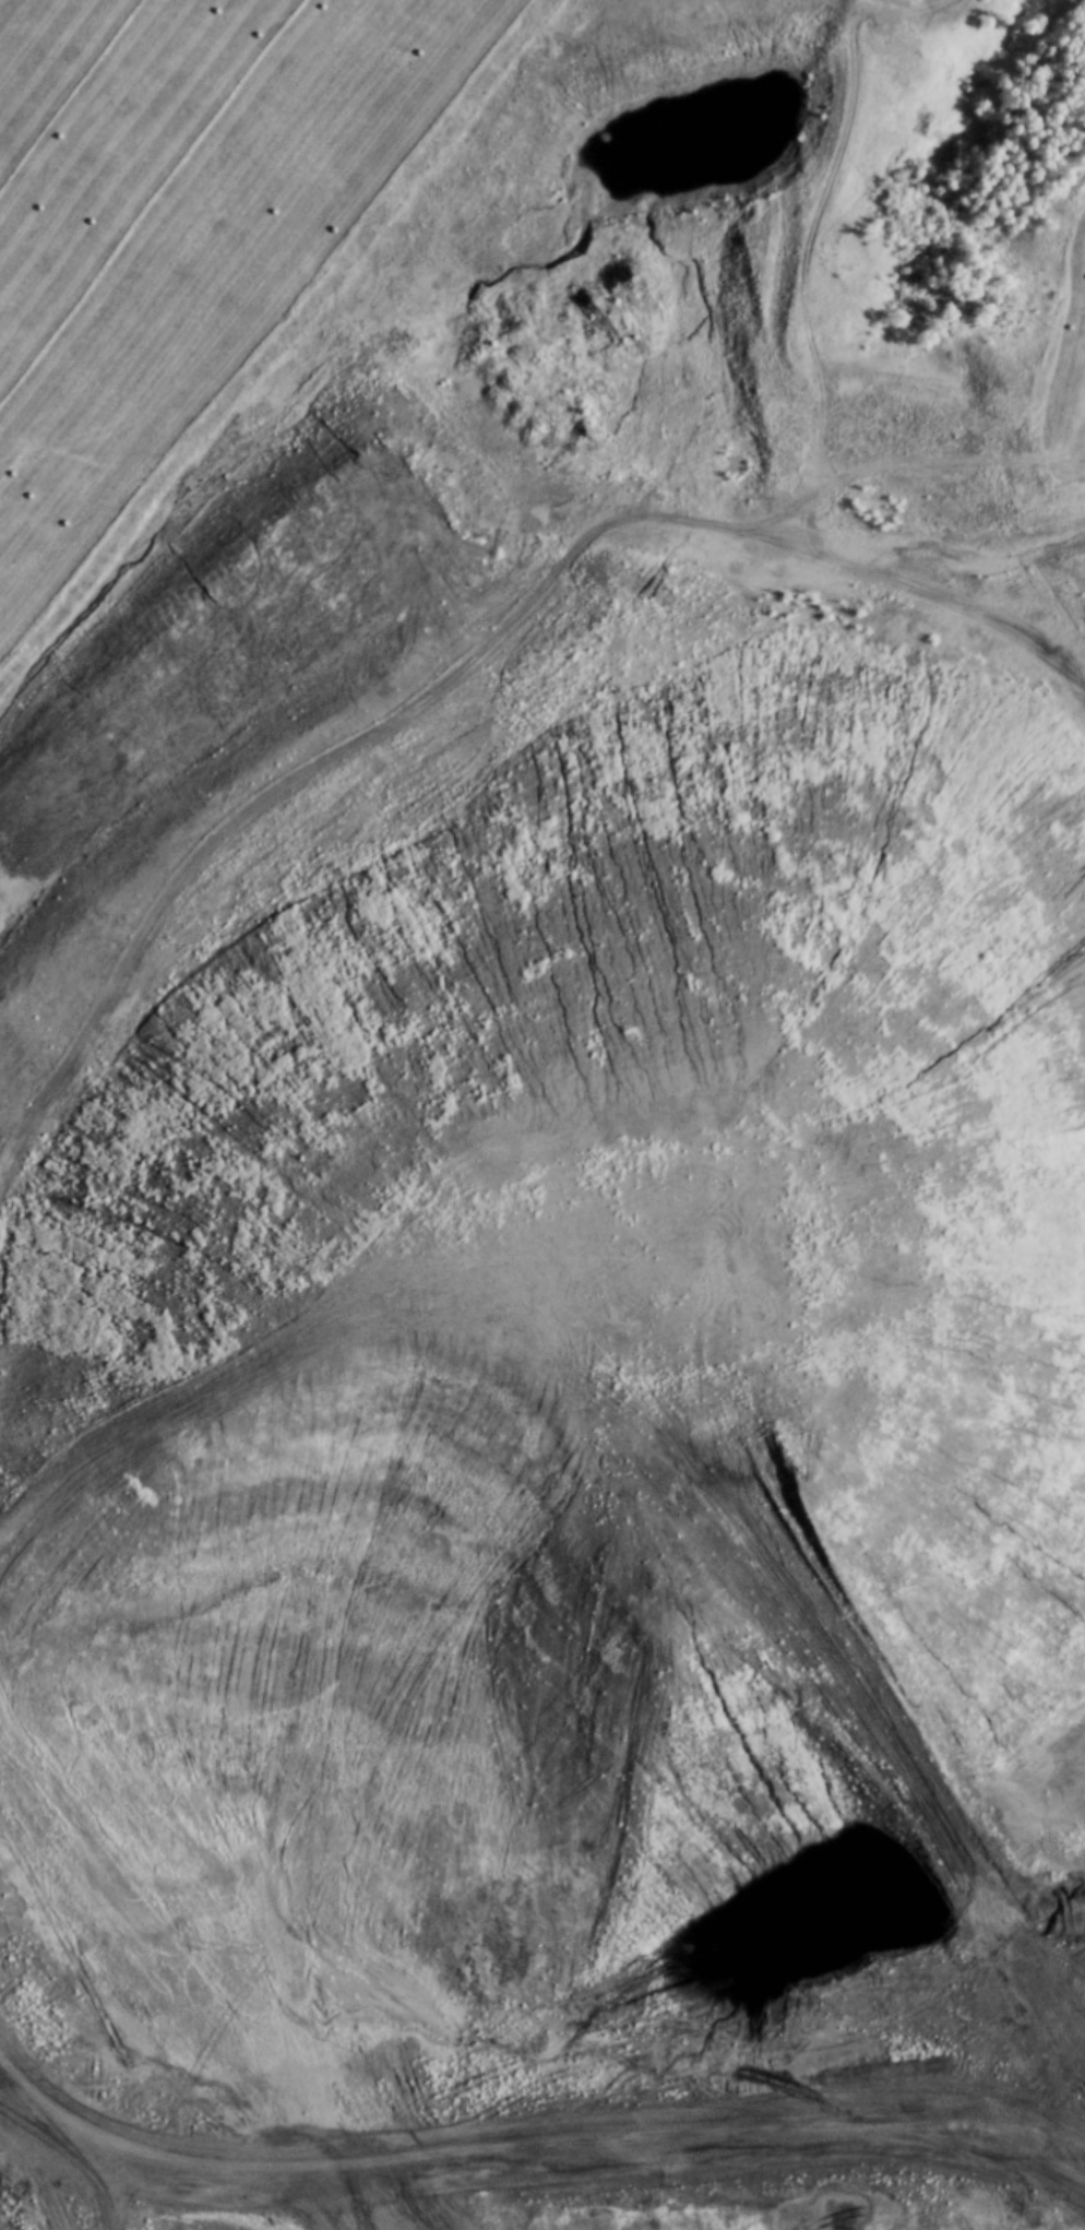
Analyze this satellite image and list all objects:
quarry: (534, 1151)

